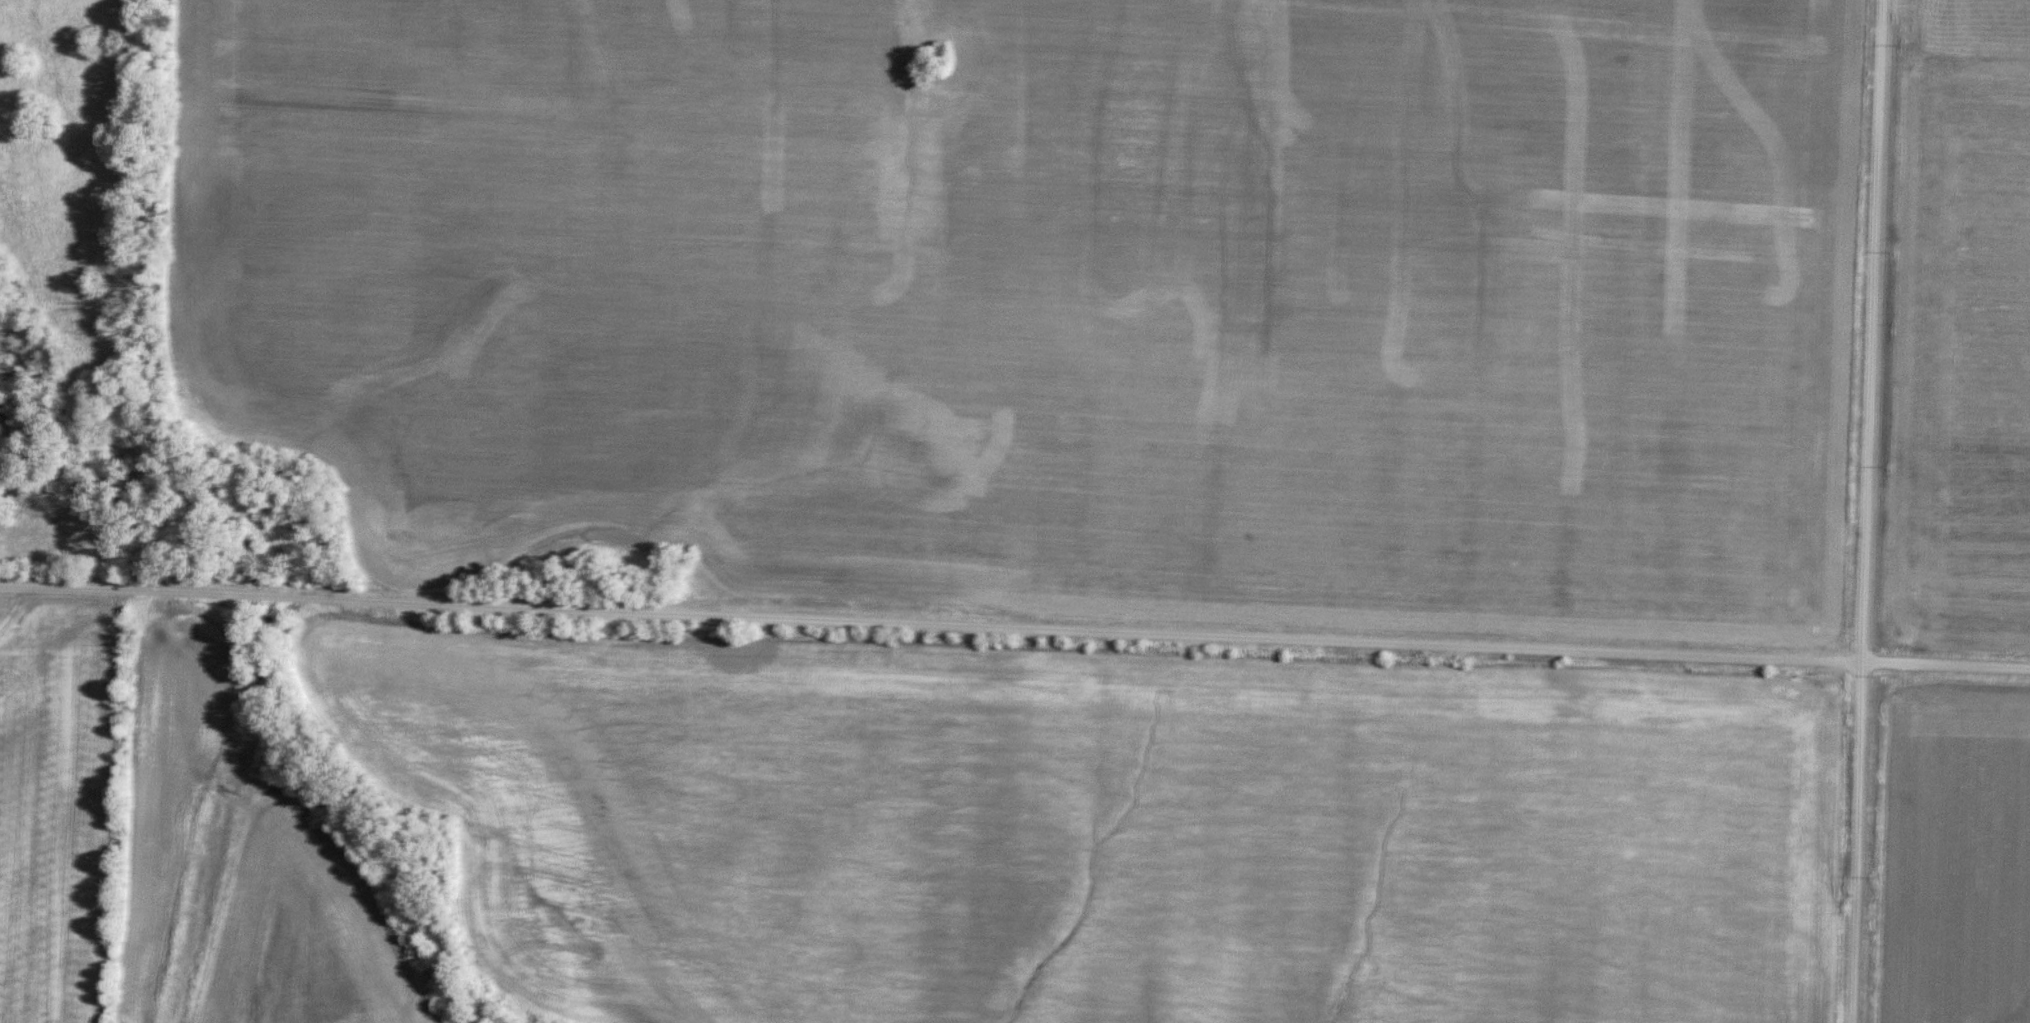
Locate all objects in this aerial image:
road: (1868, 511)
road: (1014, 629)

